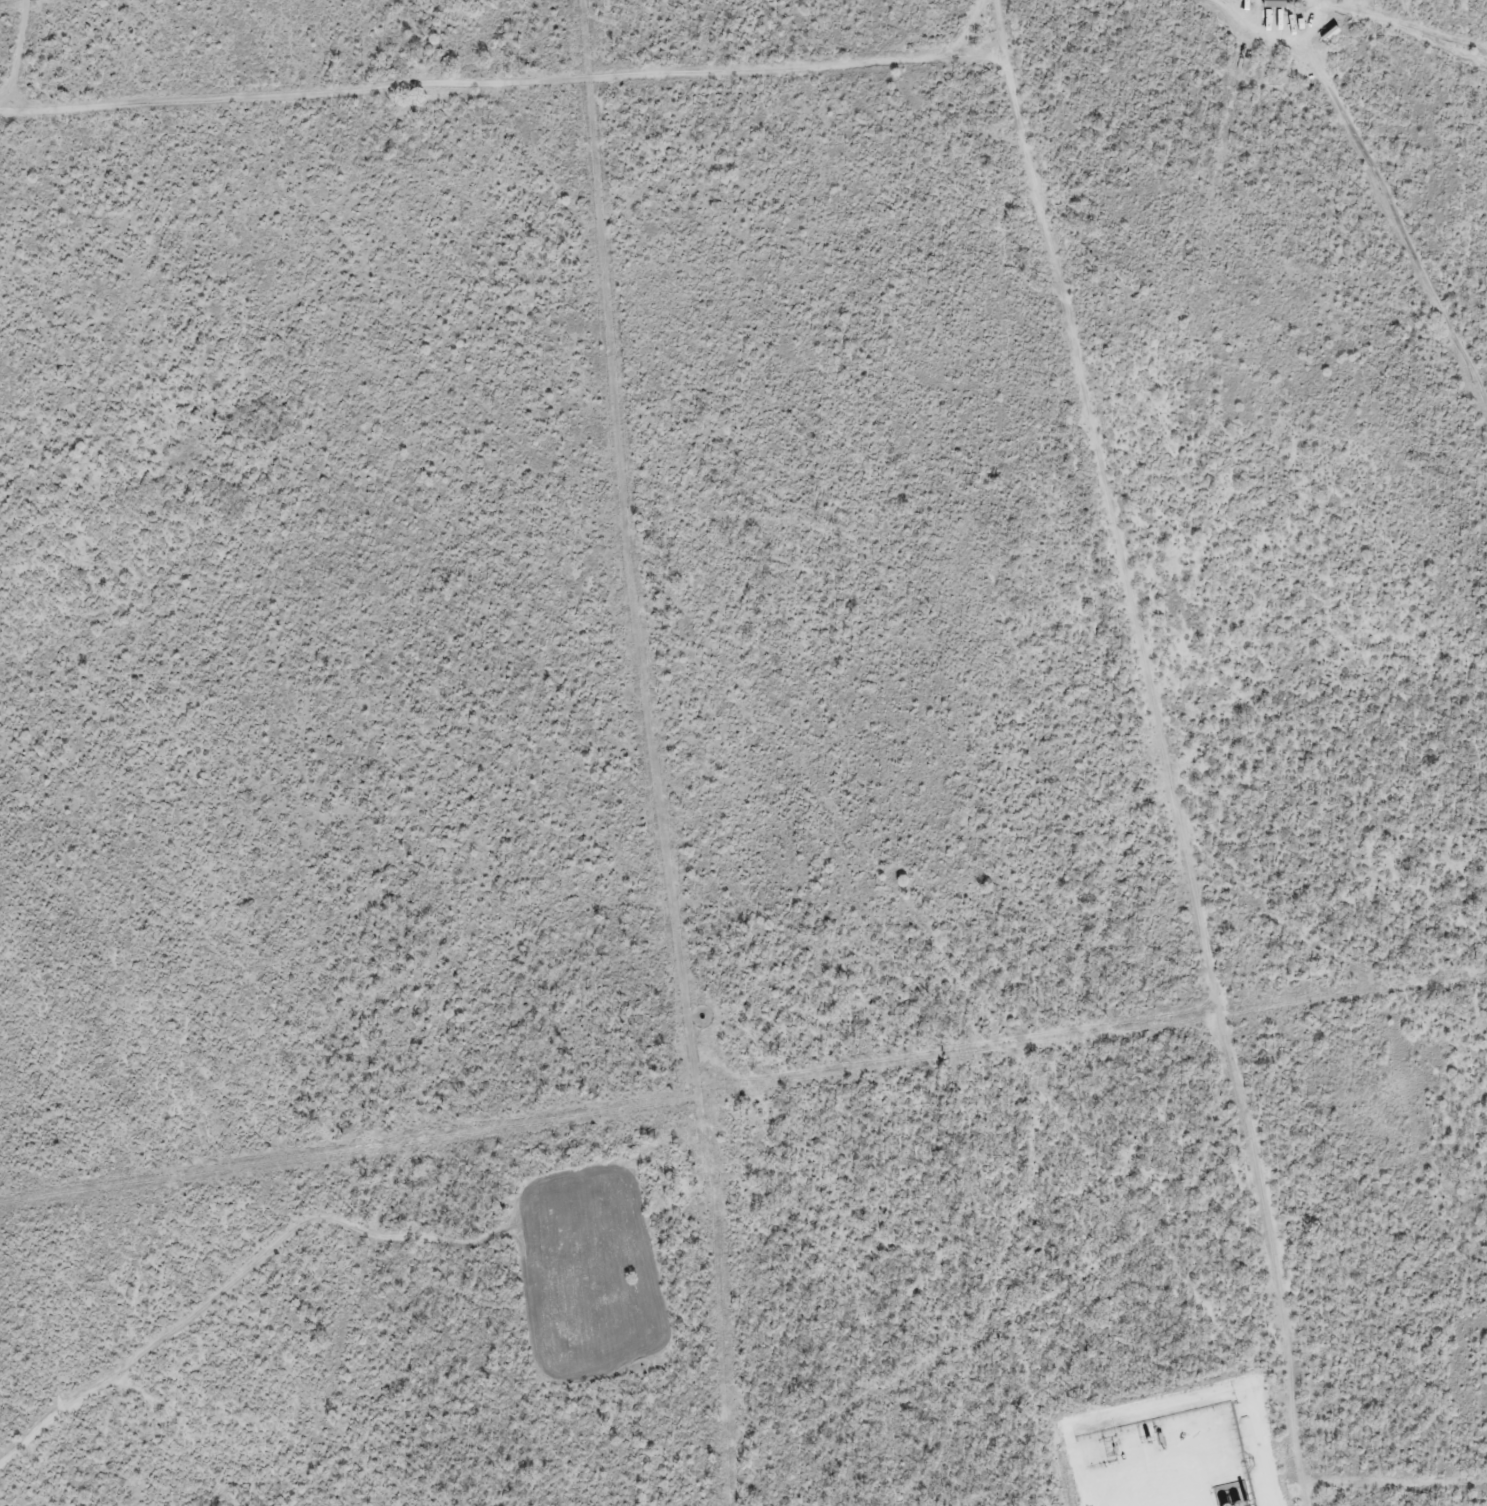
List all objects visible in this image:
building: (1273, 4)
road: (1190, 1470)

